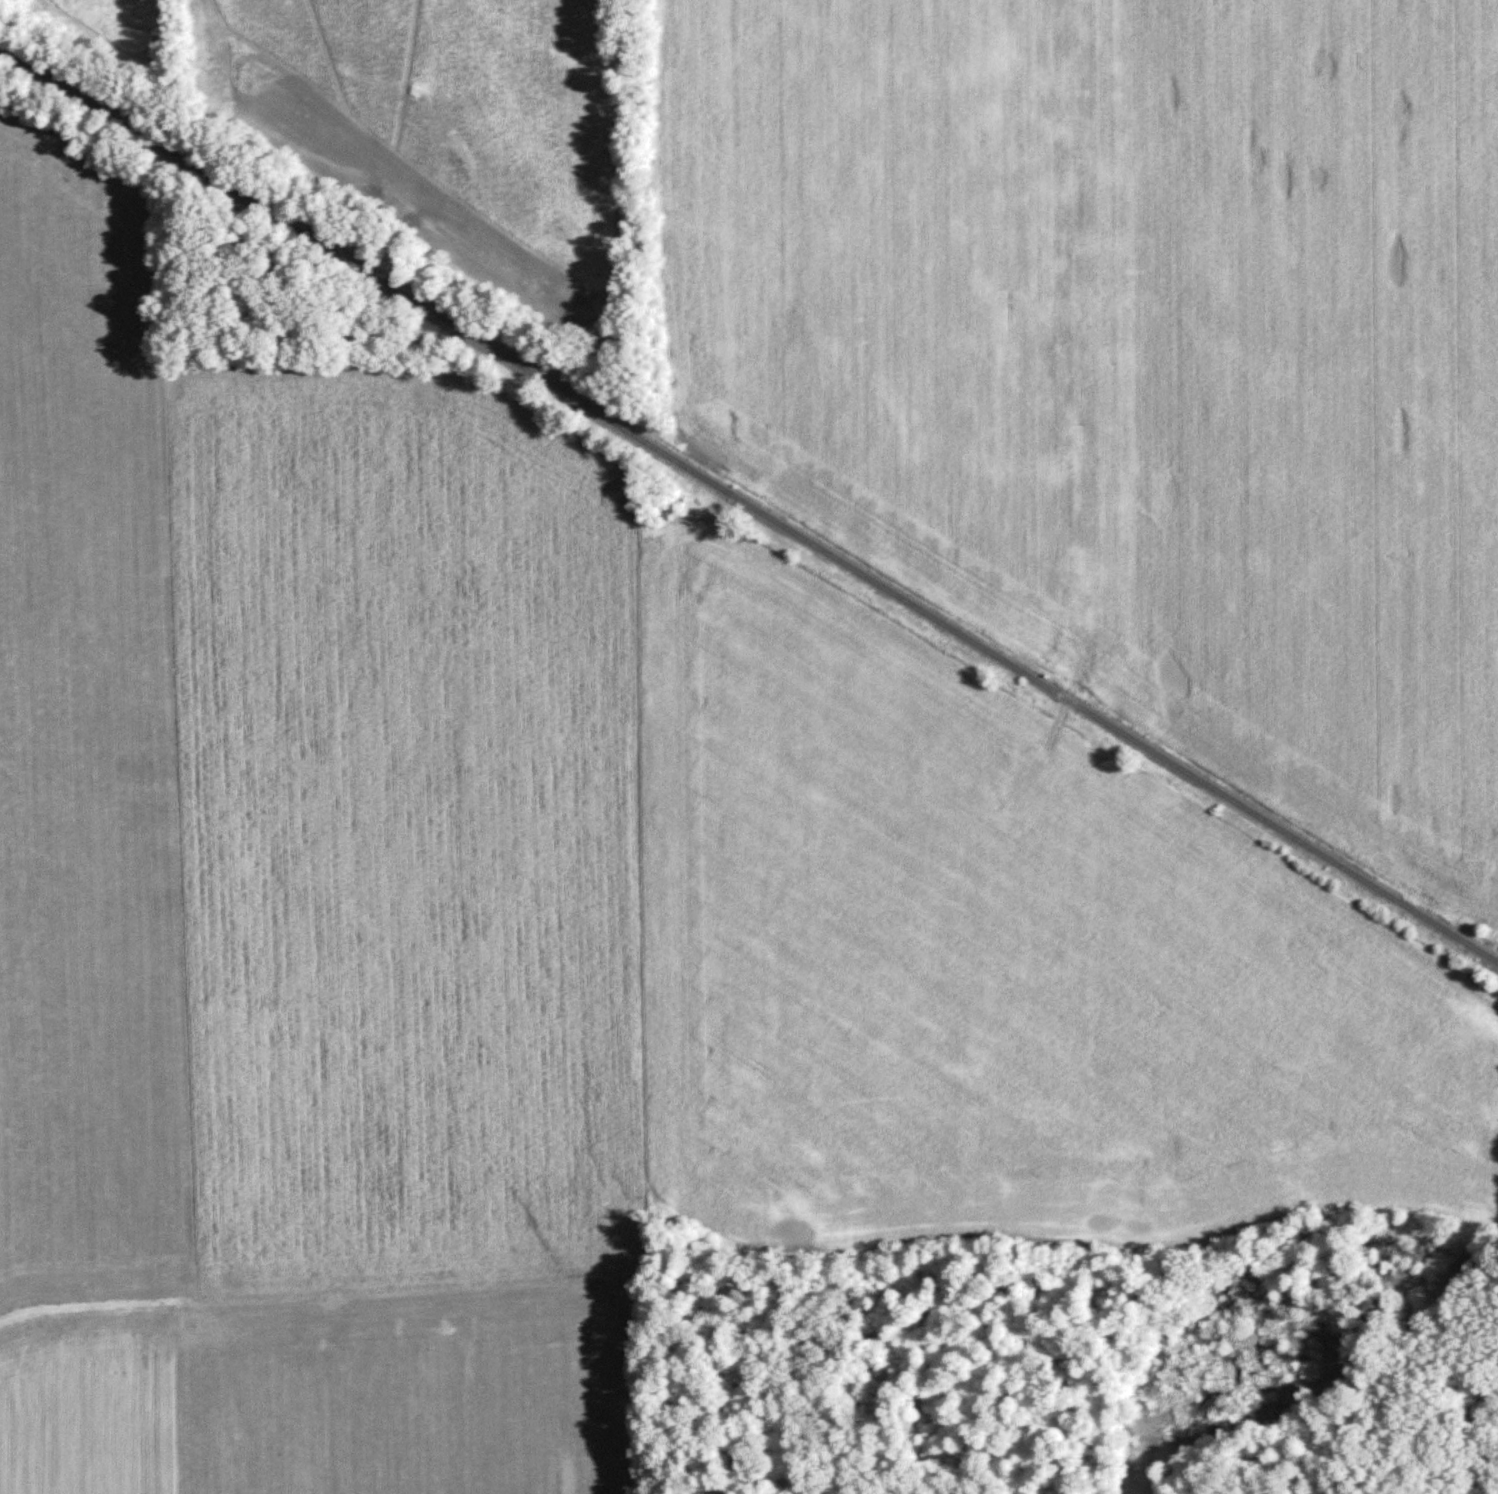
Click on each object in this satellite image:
railway: (749, 500)

